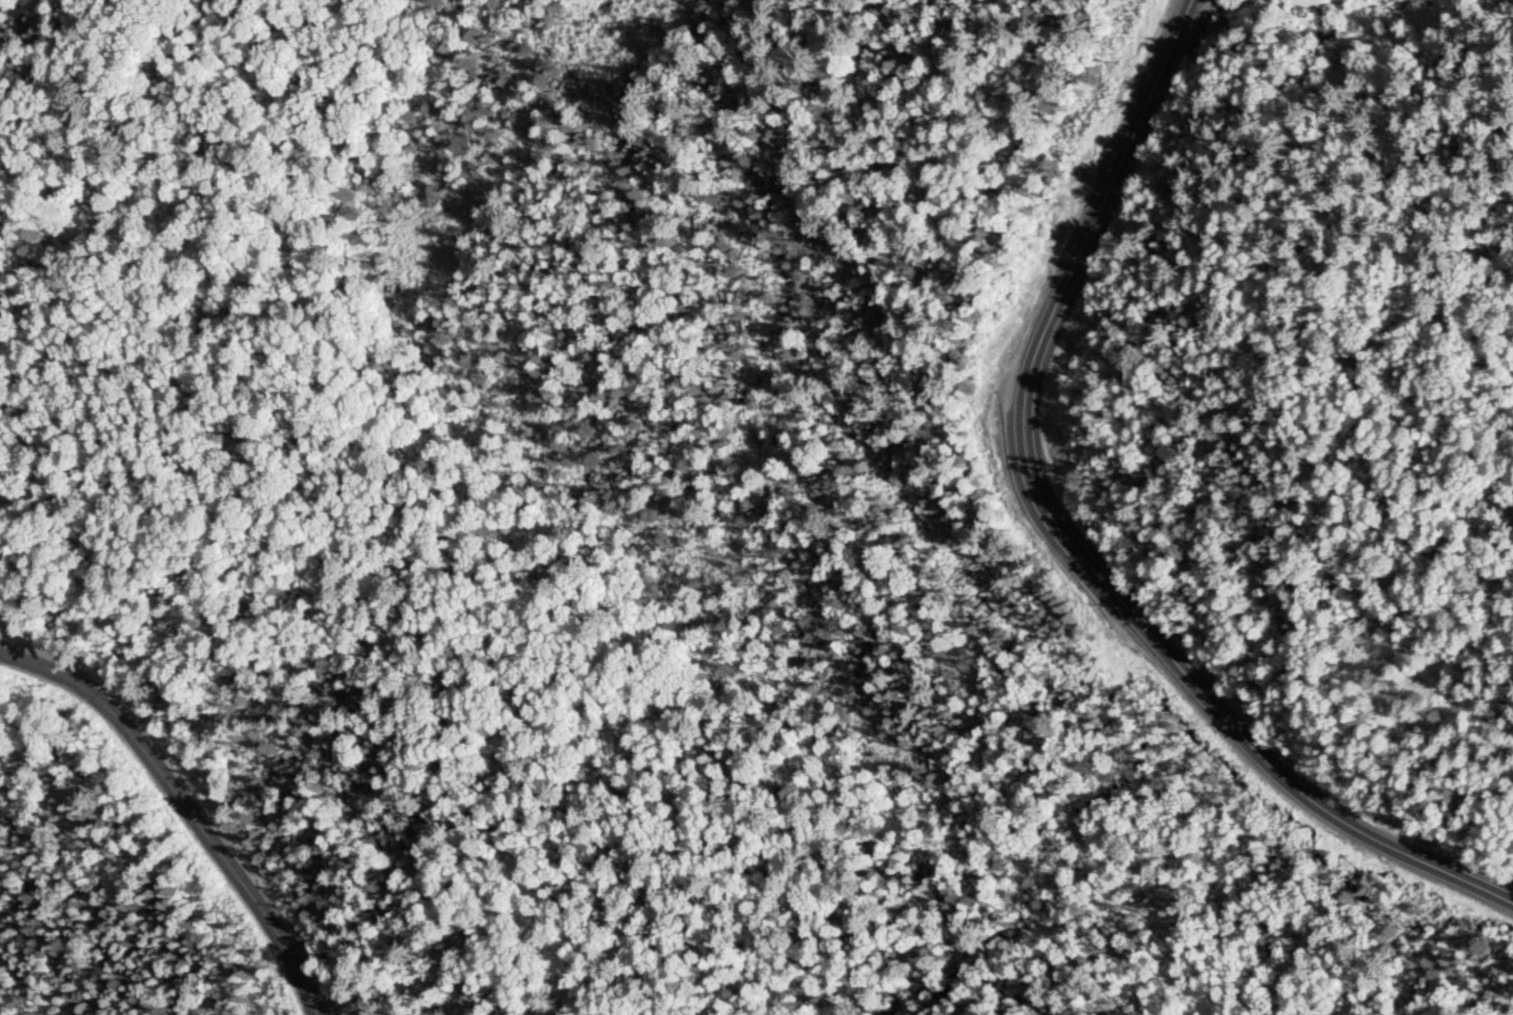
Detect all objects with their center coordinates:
road: (1067, 540)
road: (188, 805)

